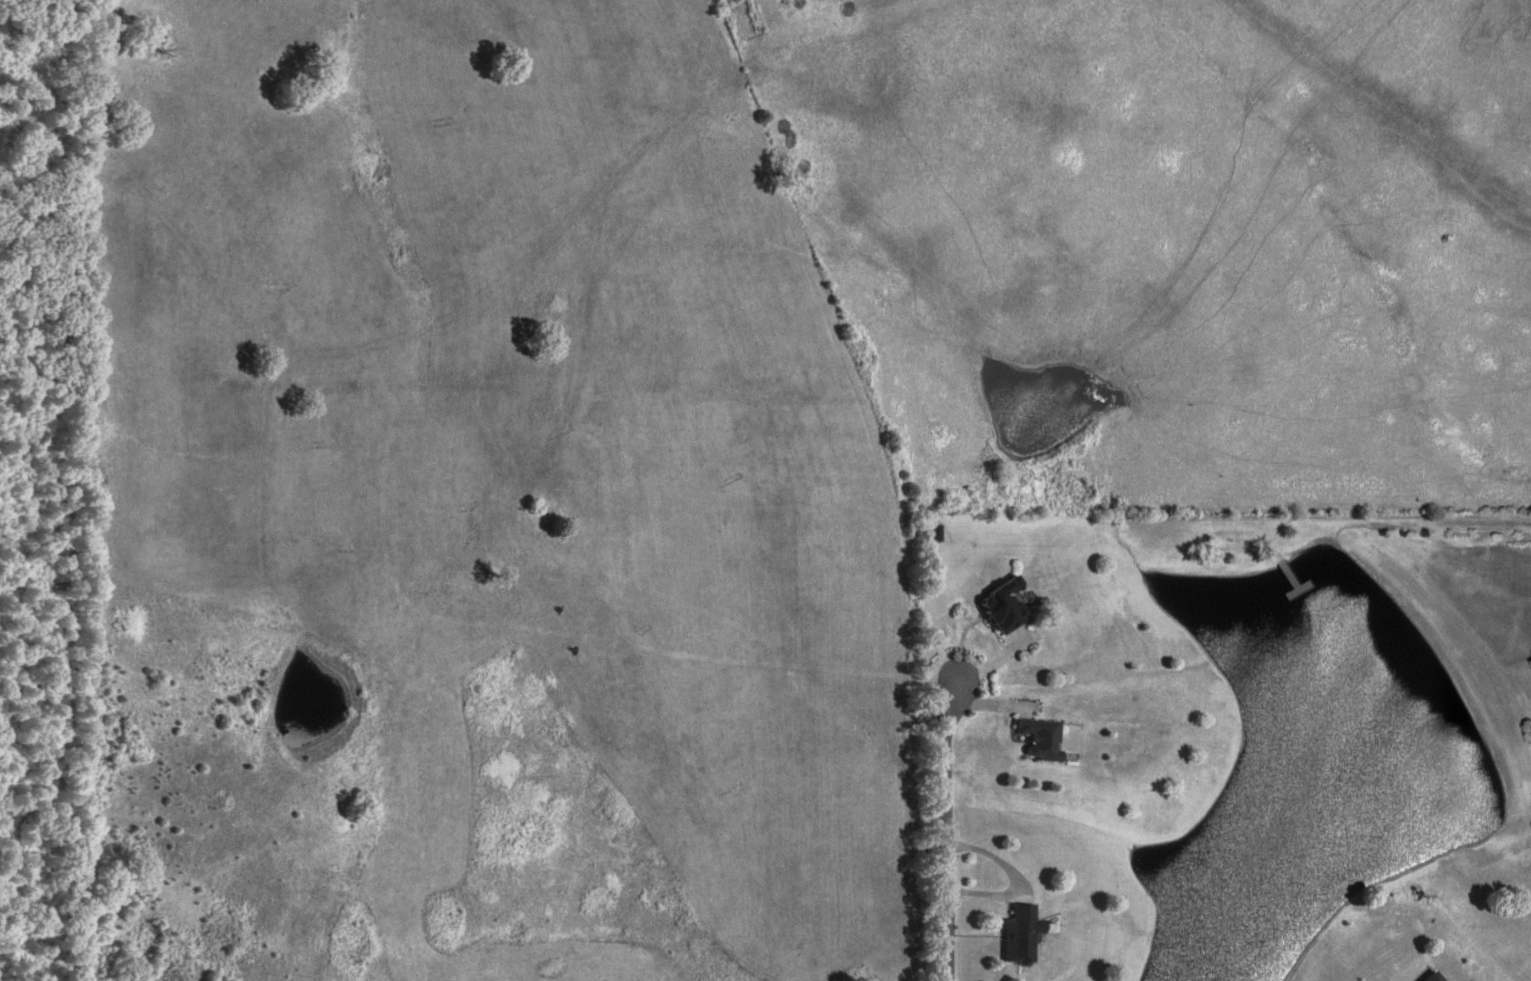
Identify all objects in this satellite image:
road: (1394, 517)
building: (934, 533)
building: (1005, 607)
building: (1040, 738)
road: (46, 799)
road: (947, 829)
building: (1022, 935)
building: (1434, 977)

